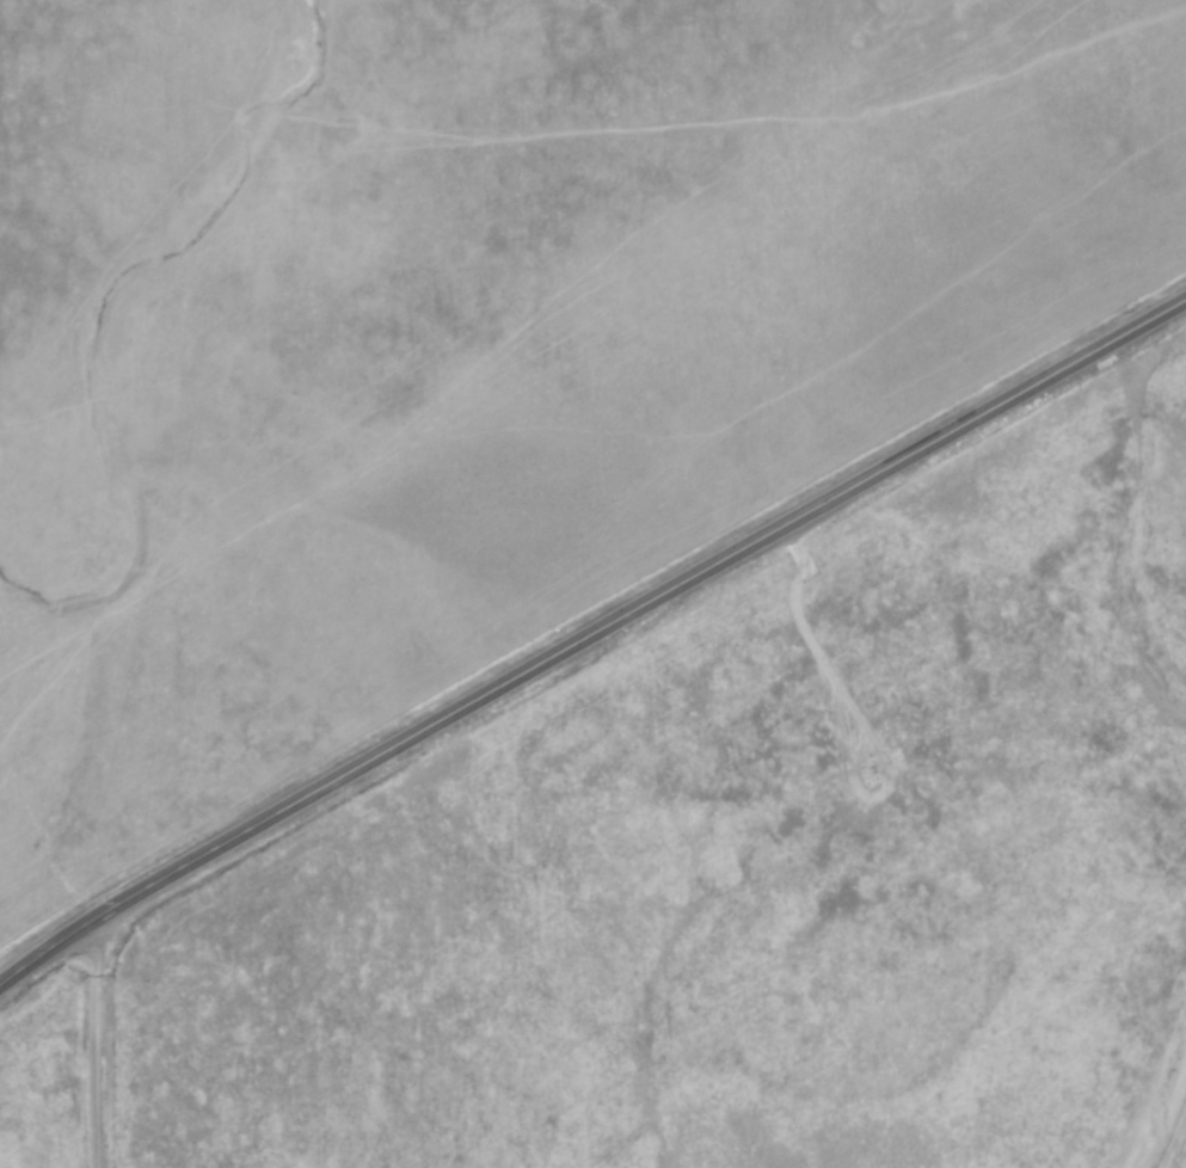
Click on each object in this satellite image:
road: (589, 638)
road: (94, 1044)

